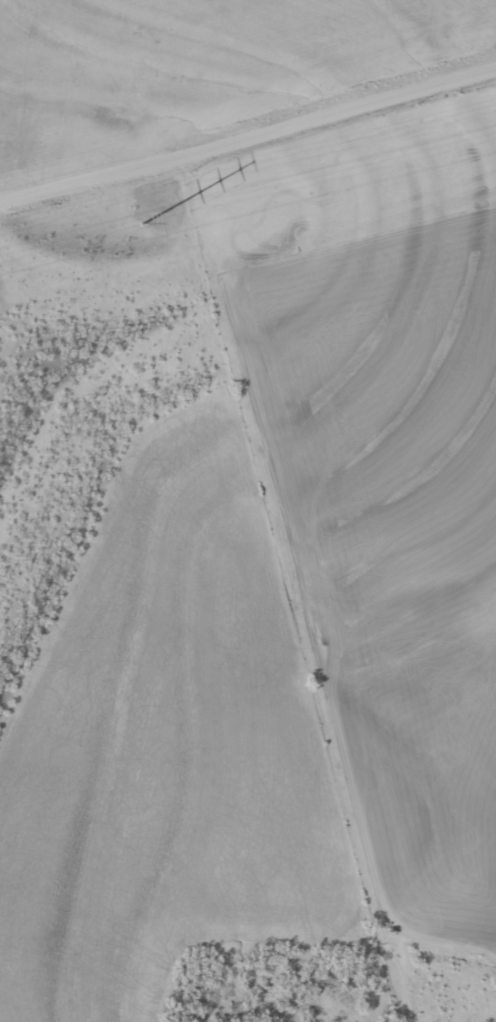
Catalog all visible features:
road: (248, 135)
power tower: (142, 224)

